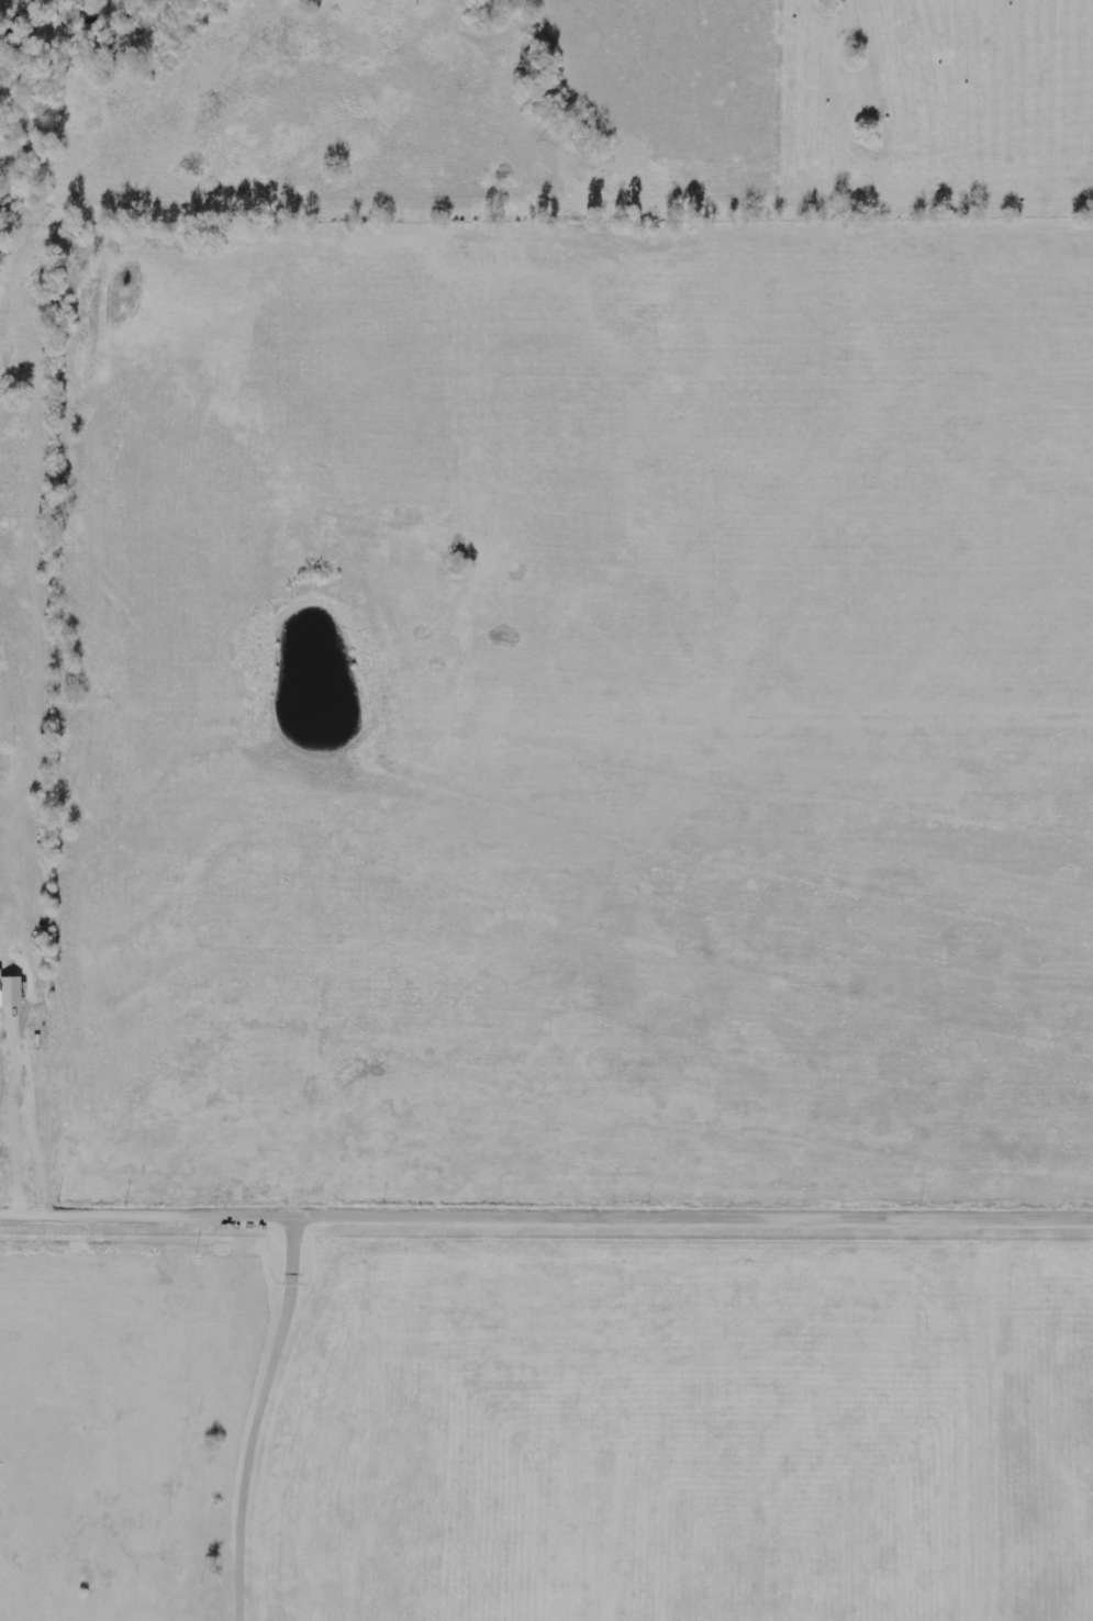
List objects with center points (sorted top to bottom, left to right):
road: (546, 1221)

